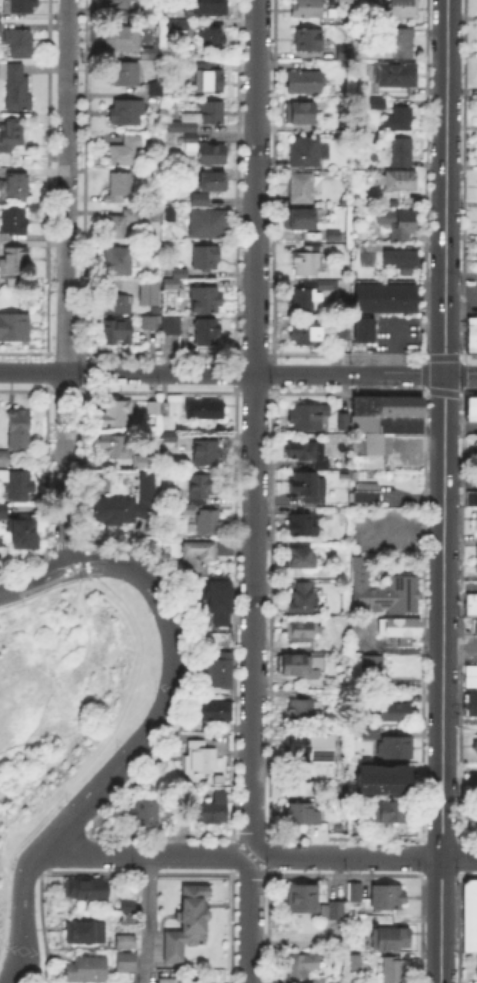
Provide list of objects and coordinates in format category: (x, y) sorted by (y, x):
building: (346, 2)
building: (115, 3)
building: (18, 6)
building: (207, 6)
building: (403, 8)
building: (307, 9)
building: (0, 17)
building: (173, 23)
building: (0, 29)
building: (212, 38)
building: (123, 39)
building: (20, 42)
building: (308, 42)
building: (404, 44)
building: (345, 53)
building: (155, 54)
building: (125, 73)
building: (395, 76)
building: (209, 78)
building: (305, 83)
building: (156, 87)
building: (16, 88)
building: (375, 101)
building: (126, 112)
building: (300, 113)
building: (200, 118)
building: (399, 120)
building: (11, 137)
building: (190, 143)
building: (125, 152)
building: (305, 152)
building: (402, 154)
building: (212, 155)
building: (213, 180)
building: (399, 181)
building: (16, 185)
road: (66, 186)
building: (301, 189)
building: (119, 191)
building: (200, 200)
building: (299, 219)
building: (15, 222)
building: (120, 224)
building: (400, 224)
building: (209, 225)
building: (334, 236)
building: (153, 250)
building: (206, 259)
building: (14, 261)
building: (121, 261)
building: (309, 261)
building: (401, 261)
building: (180, 274)
building: (171, 286)
building: (149, 293)
building: (383, 296)
building: (311, 297)
building: (207, 299)
building: (120, 305)
building: (150, 323)
building: (13, 325)
building: (172, 326)
building: (362, 328)
building: (344, 331)
building: (118, 332)
building: (207, 332)
building: (308, 333)
building: (472, 337)
traffic signals: (444, 372)
road: (460, 372)
road: (222, 373)
building: (363, 404)
building: (398, 404)
building: (152, 409)
building: (164, 409)
building: (472, 409)
building: (205, 412)
building: (115, 413)
building: (308, 416)
building: (341, 420)
building: (362, 422)
building: (398, 423)
road: (252, 427)
building: (18, 430)
building: (169, 441)
building: (114, 445)
building: (476, 448)
building: (308, 452)
building: (207, 455)
building: (5, 459)
building: (138, 459)
building: (145, 463)
road: (63, 470)
building: (305, 484)
building: (16, 485)
road: (443, 491)
building: (200, 493)
building: (364, 494)
building: (472, 500)
building: (125, 504)
building: (3, 513)
building: (205, 524)
building: (302, 524)
building: (476, 524)
building: (23, 532)
building: (225, 551)
building: (300, 556)
building: (197, 558)
building: (475, 558)
road: (33, 581)
building: (379, 589)
building: (302, 600)
building: (218, 601)
building: (470, 602)
road: (87, 621)
building: (358, 625)
building: (475, 627)
building: (302, 630)
building: (402, 630)
building: (302, 666)
building: (375, 669)
building: (219, 672)
building: (469, 675)
park: (67, 688)
road: (47, 699)
park: (57, 699)
building: (473, 706)
road: (26, 712)
building: (217, 712)
building: (306, 712)
building: (394, 714)
building: (372, 733)
building: (303, 746)
building: (395, 748)
building: (475, 748)
road: (132, 751)
building: (201, 761)
road: (86, 767)
building: (380, 778)
building: (472, 784)
building: (389, 811)
building: (212, 812)
building: (474, 812)
building: (145, 813)
building: (303, 814)
building: (180, 817)
road: (149, 854)
road: (364, 855)
building: (89, 890)
building: (355, 895)
building: (303, 899)
building: (387, 899)
building: (127, 907)
building: (333, 908)
building: (471, 917)
road: (148, 918)
road: (250, 919)
building: (189, 924)
building: (83, 933)
building: (391, 939)
building: (127, 942)
building: (353, 956)
building: (126, 963)
building: (302, 966)
building: (476, 966)
building: (88, 970)
building: (395, 971)
building: (168, 981)
building: (318, 981)

